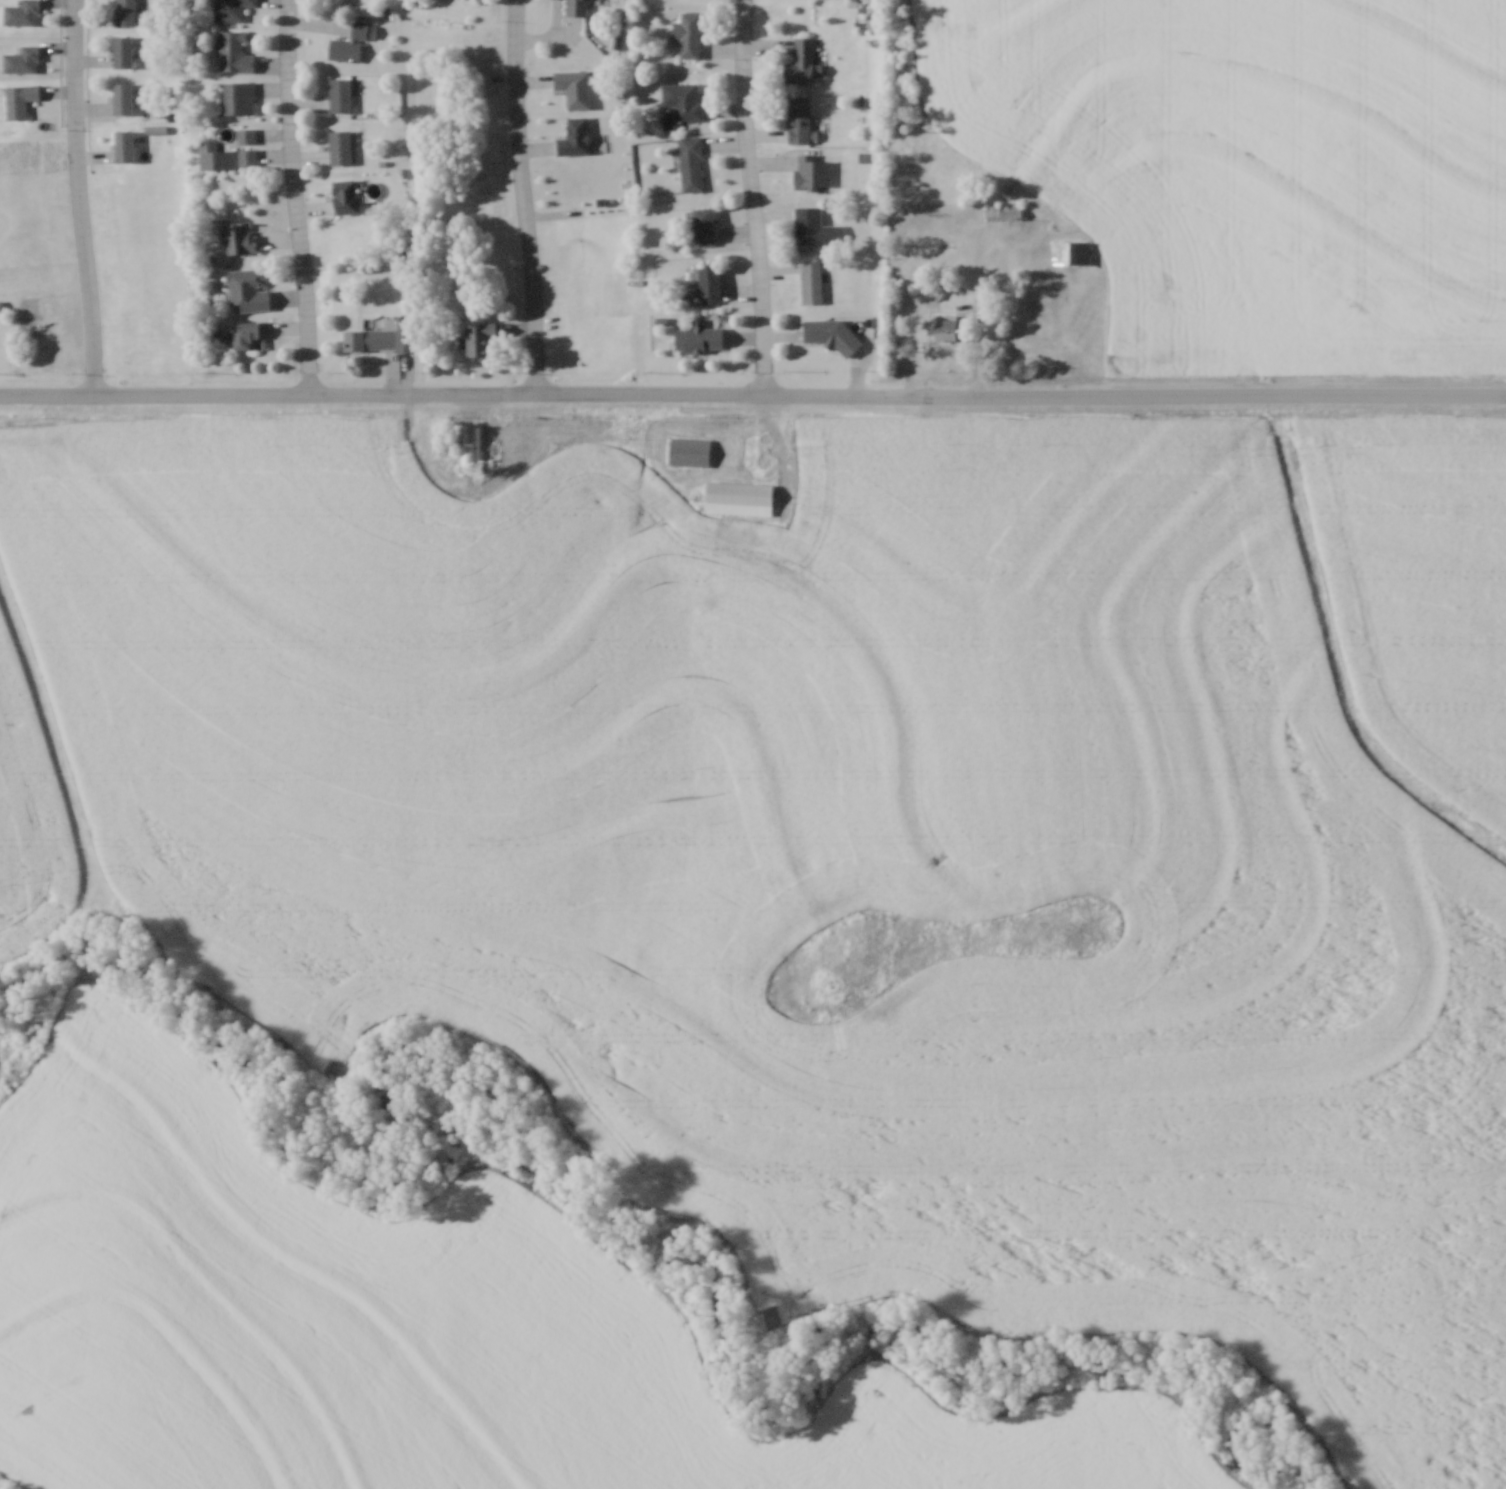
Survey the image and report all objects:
building: (577, 6)
building: (232, 9)
building: (126, 11)
building: (22, 12)
building: (689, 32)
building: (352, 41)
building: (123, 49)
building: (234, 51)
building: (22, 58)
building: (802, 61)
building: (575, 85)
building: (341, 93)
building: (124, 96)
building: (239, 96)
building: (20, 98)
building: (684, 99)
building: (800, 118)
building: (246, 135)
building: (576, 135)
building: (126, 144)
building: (341, 146)
building: (229, 157)
building: (691, 162)
building: (812, 171)
building: (347, 195)
road: (526, 195)
road: (295, 196)
road: (752, 196)
road: (80, 197)
building: (1004, 211)
building: (705, 221)
building: (809, 224)
building: (241, 237)
building: (1070, 251)
building: (811, 281)
building: (710, 284)
building: (248, 290)
road: (984, 311)
building: (950, 326)
building: (818, 329)
building: (248, 335)
building: (480, 336)
building: (383, 337)
building: (699, 338)
road: (1220, 392)
road: (468, 393)
building: (469, 445)
building: (689, 450)
road: (786, 461)
road: (455, 487)
building: (740, 497)
road: (49, 742)

